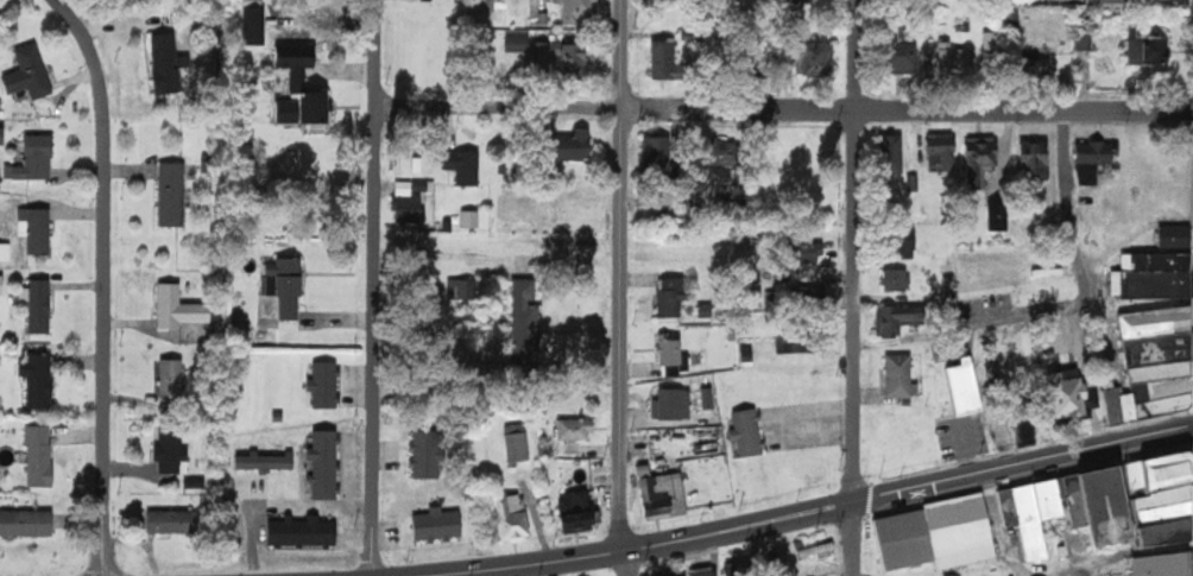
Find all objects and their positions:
building: (808, 0)
building: (1118, 0)
building: (574, 10)
building: (254, 25)
building: (995, 39)
building: (1085, 40)
building: (1151, 50)
building: (562, 55)
building: (823, 56)
building: (913, 56)
building: (673, 59)
building: (958, 59)
building: (168, 63)
building: (31, 72)
building: (1, 102)
building: (308, 102)
road: (783, 108)
building: (4, 134)
building: (577, 145)
building: (894, 150)
building: (945, 153)
building: (659, 154)
building: (36, 158)
building: (1036, 159)
building: (1097, 159)
building: (984, 160)
building: (737, 165)
building: (467, 166)
road: (1066, 167)
building: (175, 194)
building: (412, 200)
building: (1001, 214)
building: (38, 228)
building: (1175, 236)
road: (853, 249)
building: (6, 251)
building: (1160, 261)
road: (620, 276)
building: (897, 279)
road: (103, 280)
building: (1154, 283)
building: (2, 284)
building: (286, 284)
road: (373, 287)
building: (463, 289)
building: (809, 290)
building: (674, 296)
road: (1075, 302)
building: (40, 304)
building: (183, 308)
building: (901, 318)
building: (528, 321)
building: (1159, 322)
building: (799, 340)
building: (1161, 348)
building: (674, 350)
building: (1162, 371)
building: (903, 375)
building: (40, 379)
building: (327, 384)
building: (971, 386)
building: (1164, 387)
building: (708, 398)
building: (675, 404)
building: (1167, 404)
building: (1117, 405)
building: (1134, 405)
building: (576, 431)
building: (750, 431)
building: (518, 442)
building: (173, 449)
building: (428, 454)
building: (42, 455)
building: (267, 461)
building: (327, 463)
road: (1024, 463)
building: (1163, 471)
building: (654, 493)
building: (1049, 499)
building: (1115, 506)
building: (1008, 507)
building: (580, 511)
building: (1168, 514)
building: (516, 519)
building: (175, 520)
building: (29, 521)
building: (1030, 521)
building: (440, 524)
building: (305, 531)
building: (936, 536)
road: (854, 538)
road: (630, 550)
road: (626, 563)
building: (1163, 564)
building: (738, 569)
building: (695, 572)

